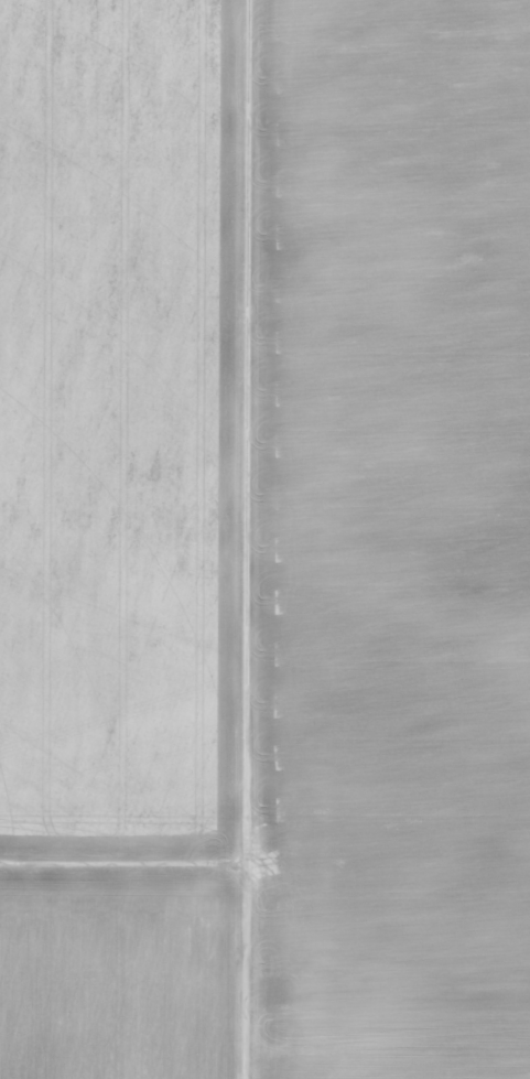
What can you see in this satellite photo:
road: (229, 861)

